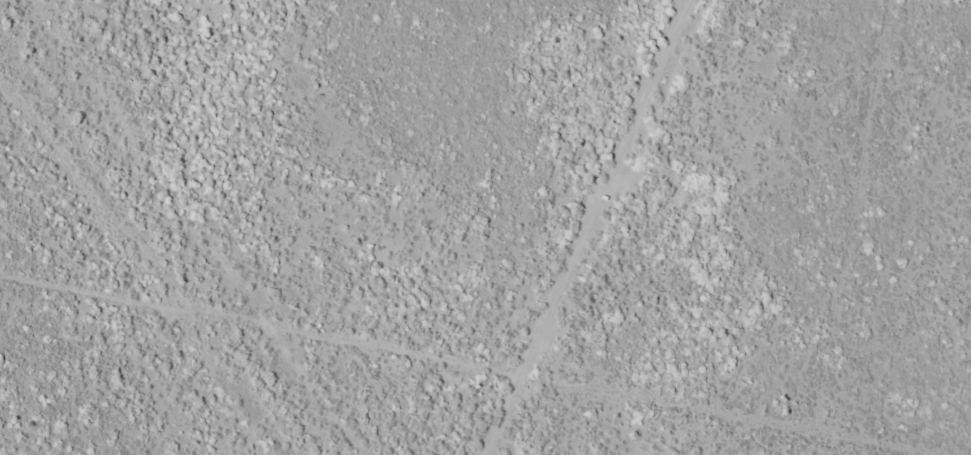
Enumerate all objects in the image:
road: (619, 228)

